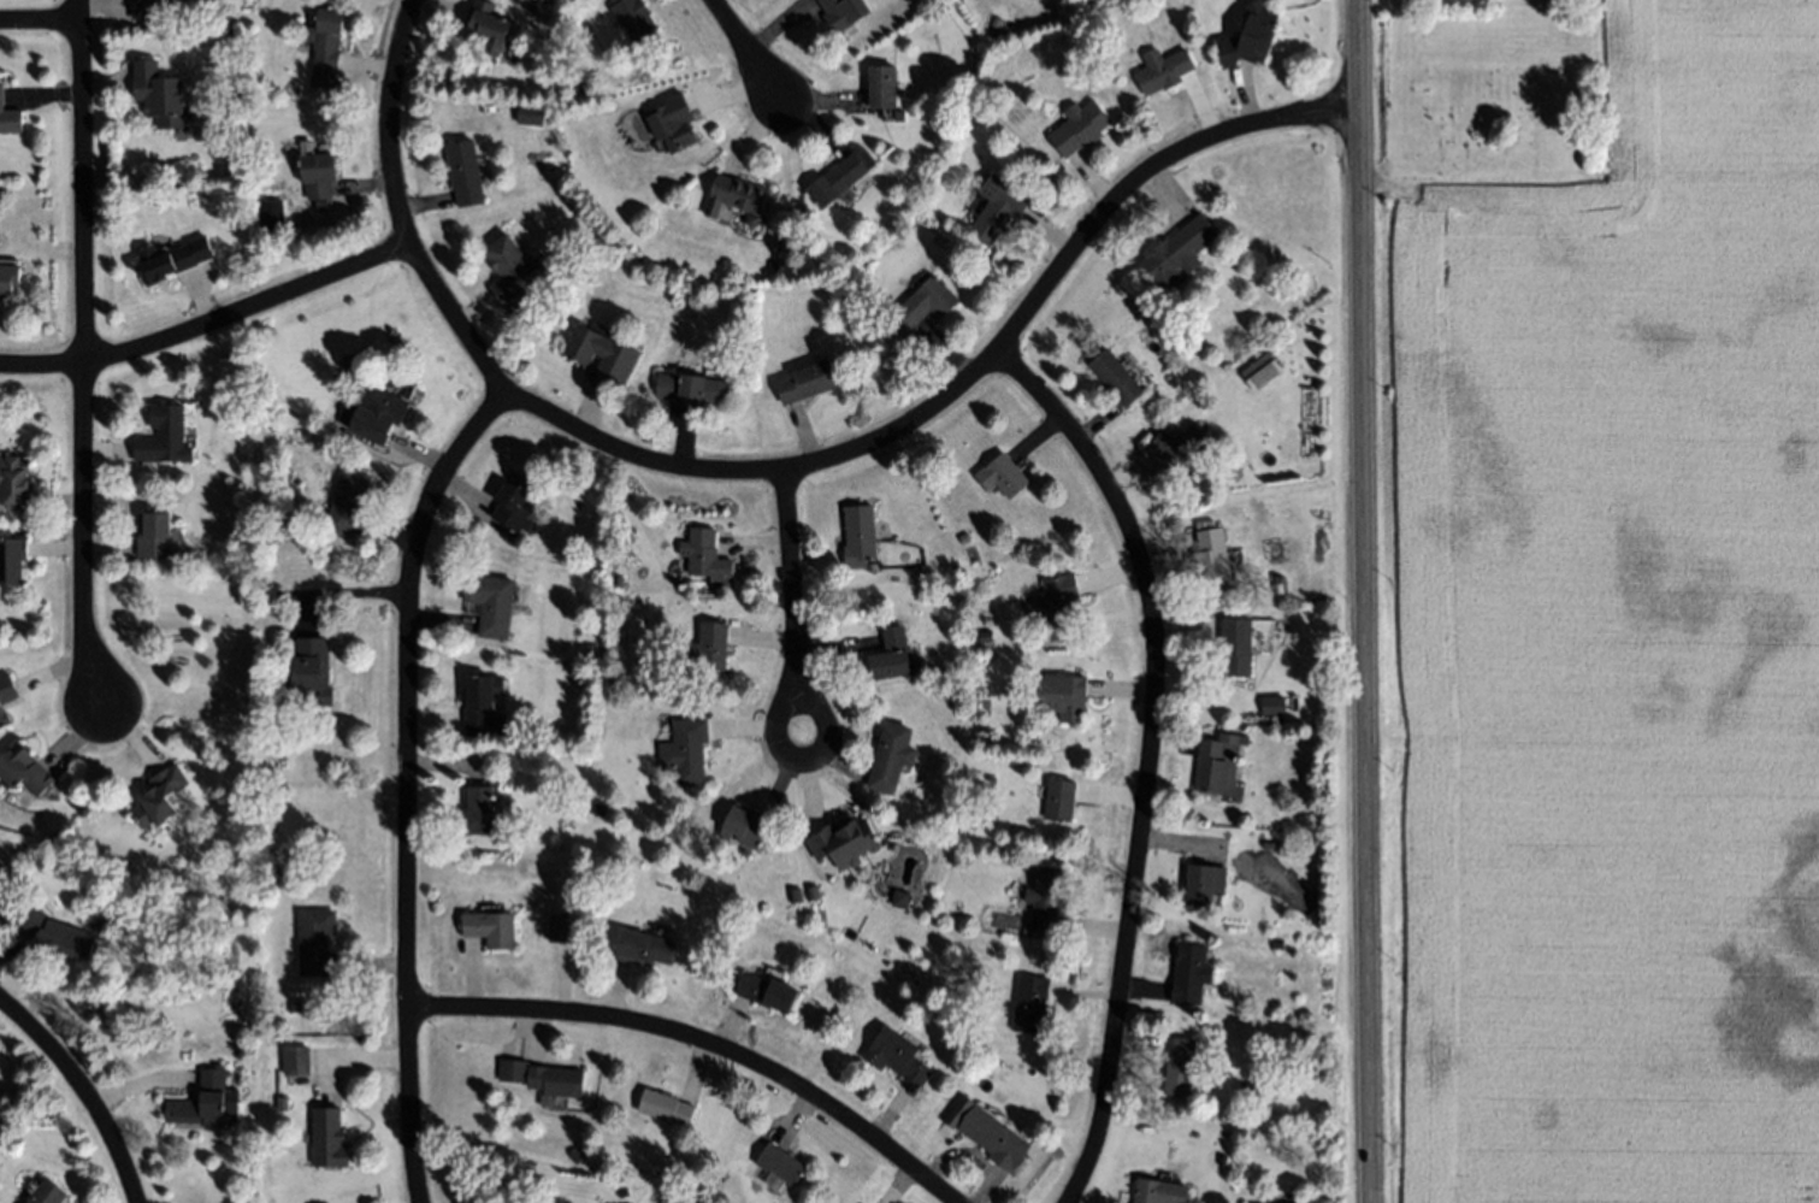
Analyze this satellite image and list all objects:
building: (515, 0)
crop: (1435, 0)
building: (149, 7)
road: (79, 11)
building: (843, 12)
building: (633, 17)
road: (40, 24)
building: (486, 28)
building: (1250, 36)
building: (324, 45)
road: (748, 48)
building: (1163, 70)
building: (882, 85)
building: (161, 92)
park: (1489, 93)
building: (1, 99)
building: (530, 114)
building: (673, 123)
building: (1079, 126)
building: (555, 167)
building: (465, 171)
building: (318, 173)
building: (837, 179)
building: (737, 196)
building: (265, 199)
building: (997, 208)
building: (638, 229)
building: (1177, 253)
building: (171, 263)
building: (513, 271)
building: (565, 271)
building: (8, 278)
building: (922, 303)
road: (209, 323)
building: (602, 352)
road: (83, 364)
building: (1260, 372)
building: (1117, 377)
building: (1175, 381)
building: (808, 382)
building: (692, 388)
building: (1207, 401)
building: (377, 415)
building: (164, 436)
building: (1181, 446)
road: (776, 470)
building: (1002, 474)
building: (14, 482)
building: (349, 501)
building: (513, 506)
building: (155, 535)
building: (860, 536)
building: (964, 536)
building: (705, 555)
building: (12, 559)
building: (1212, 560)
building: (236, 567)
building: (259, 584)
building: (1277, 584)
building: (1058, 597)
road: (1364, 601)
building: (491, 603)
road: (795, 606)
crop: (1613, 644)
building: (1235, 645)
building: (709, 647)
building: (893, 655)
building: (311, 673)
building: (6, 688)
building: (1065, 697)
building: (480, 703)
building: (2, 718)
building: (686, 749)
building: (892, 756)
road: (1150, 756)
building: (1216, 765)
building: (23, 769)
road: (406, 782)
building: (159, 795)
building: (1062, 798)
building: (479, 809)
building: (600, 809)
building: (566, 822)
building: (745, 826)
building: (843, 841)
building: (1268, 844)
building: (780, 877)
building: (574, 881)
building: (1204, 883)
building: (811, 894)
building: (1045, 897)
building: (490, 927)
building: (560, 928)
building: (57, 934)
building: (317, 943)
building: (1277, 944)
building: (644, 948)
building: (1192, 972)
building: (767, 991)
building: (1030, 1002)
building: (294, 1006)
road: (704, 1042)
building: (897, 1056)
building: (296, 1060)
building: (1180, 1067)
building: (543, 1077)
road: (78, 1084)
building: (1248, 1089)
building: (205, 1103)
building: (282, 1103)
building: (666, 1107)
building: (327, 1138)
building: (994, 1138)
building: (575, 1154)
building: (780, 1164)
building: (1224, 1172)
building: (615, 1185)
building: (1159, 1191)
building: (46, 1193)
road: (132, 1193)
building: (622, 1193)
building: (665, 1202)

